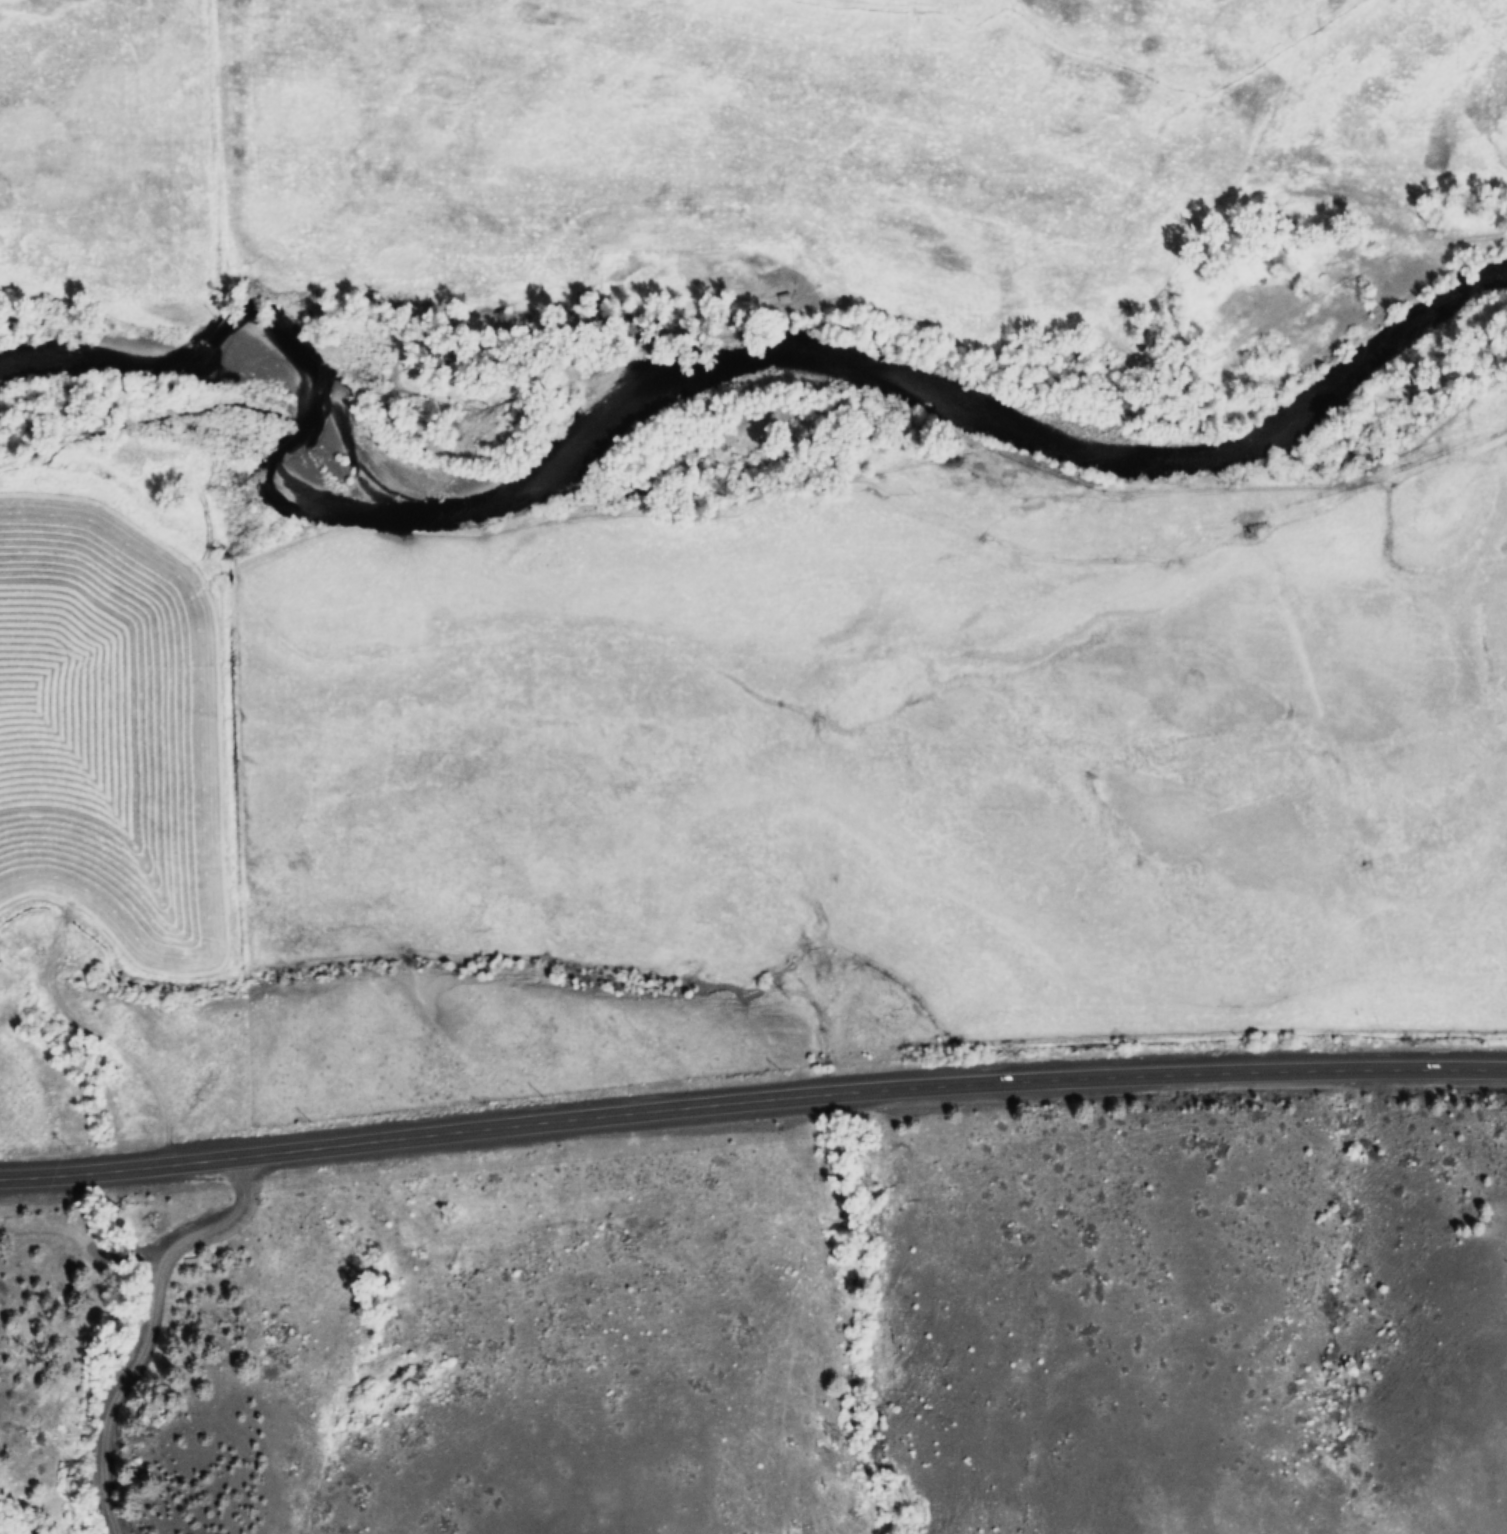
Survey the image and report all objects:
river: (738, 372)
road: (752, 1104)
road: (163, 1324)

